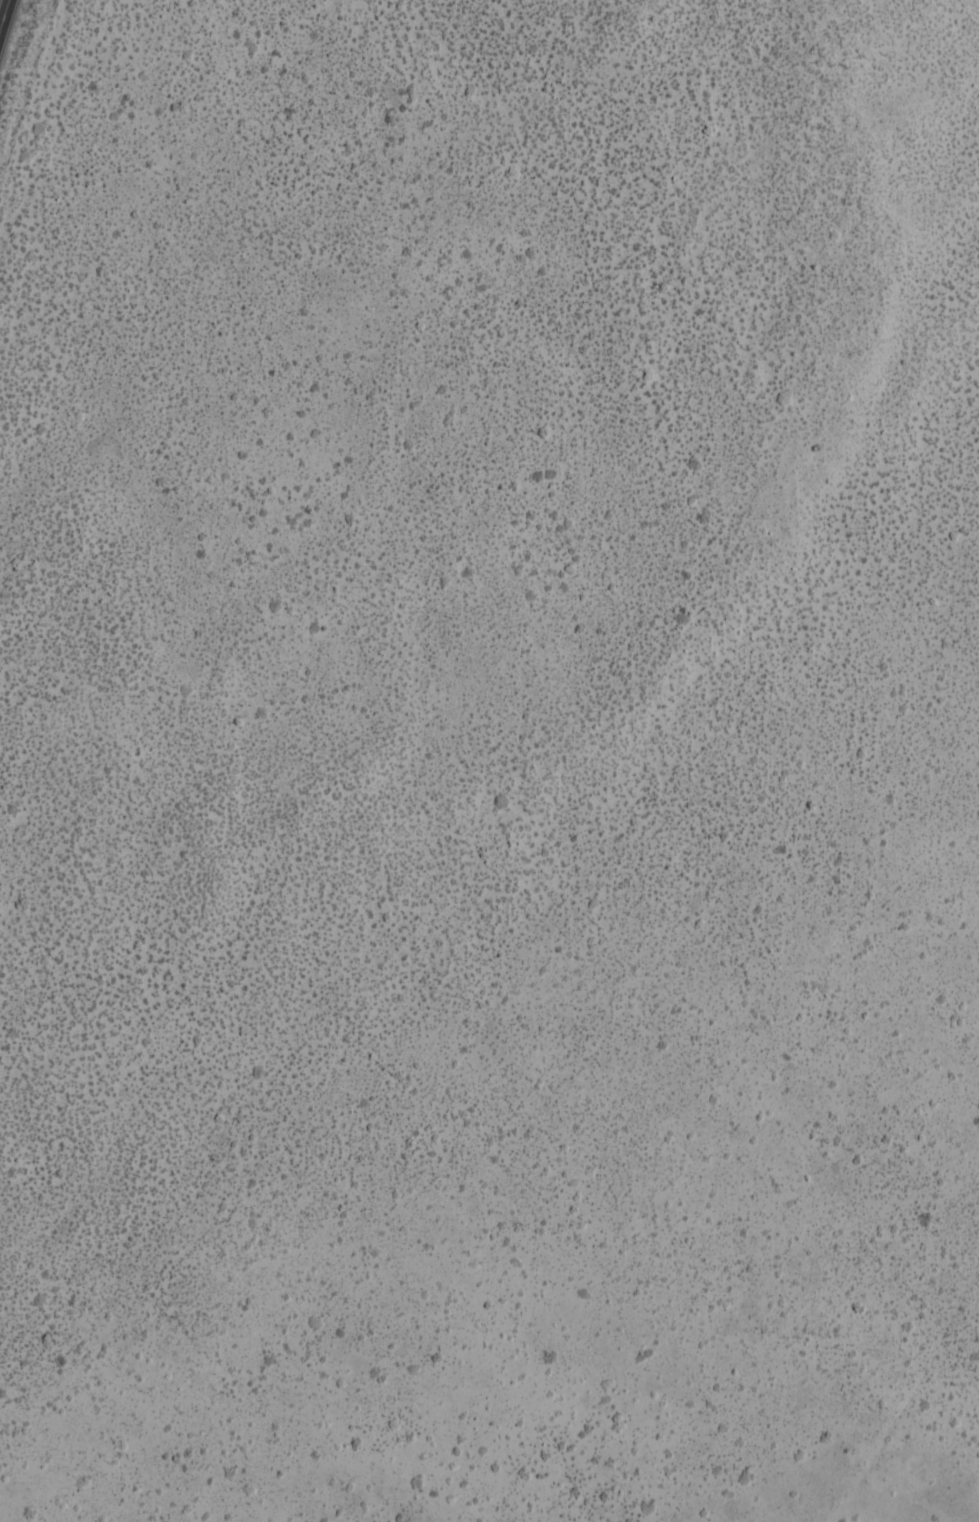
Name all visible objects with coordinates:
road: (6, 21)

